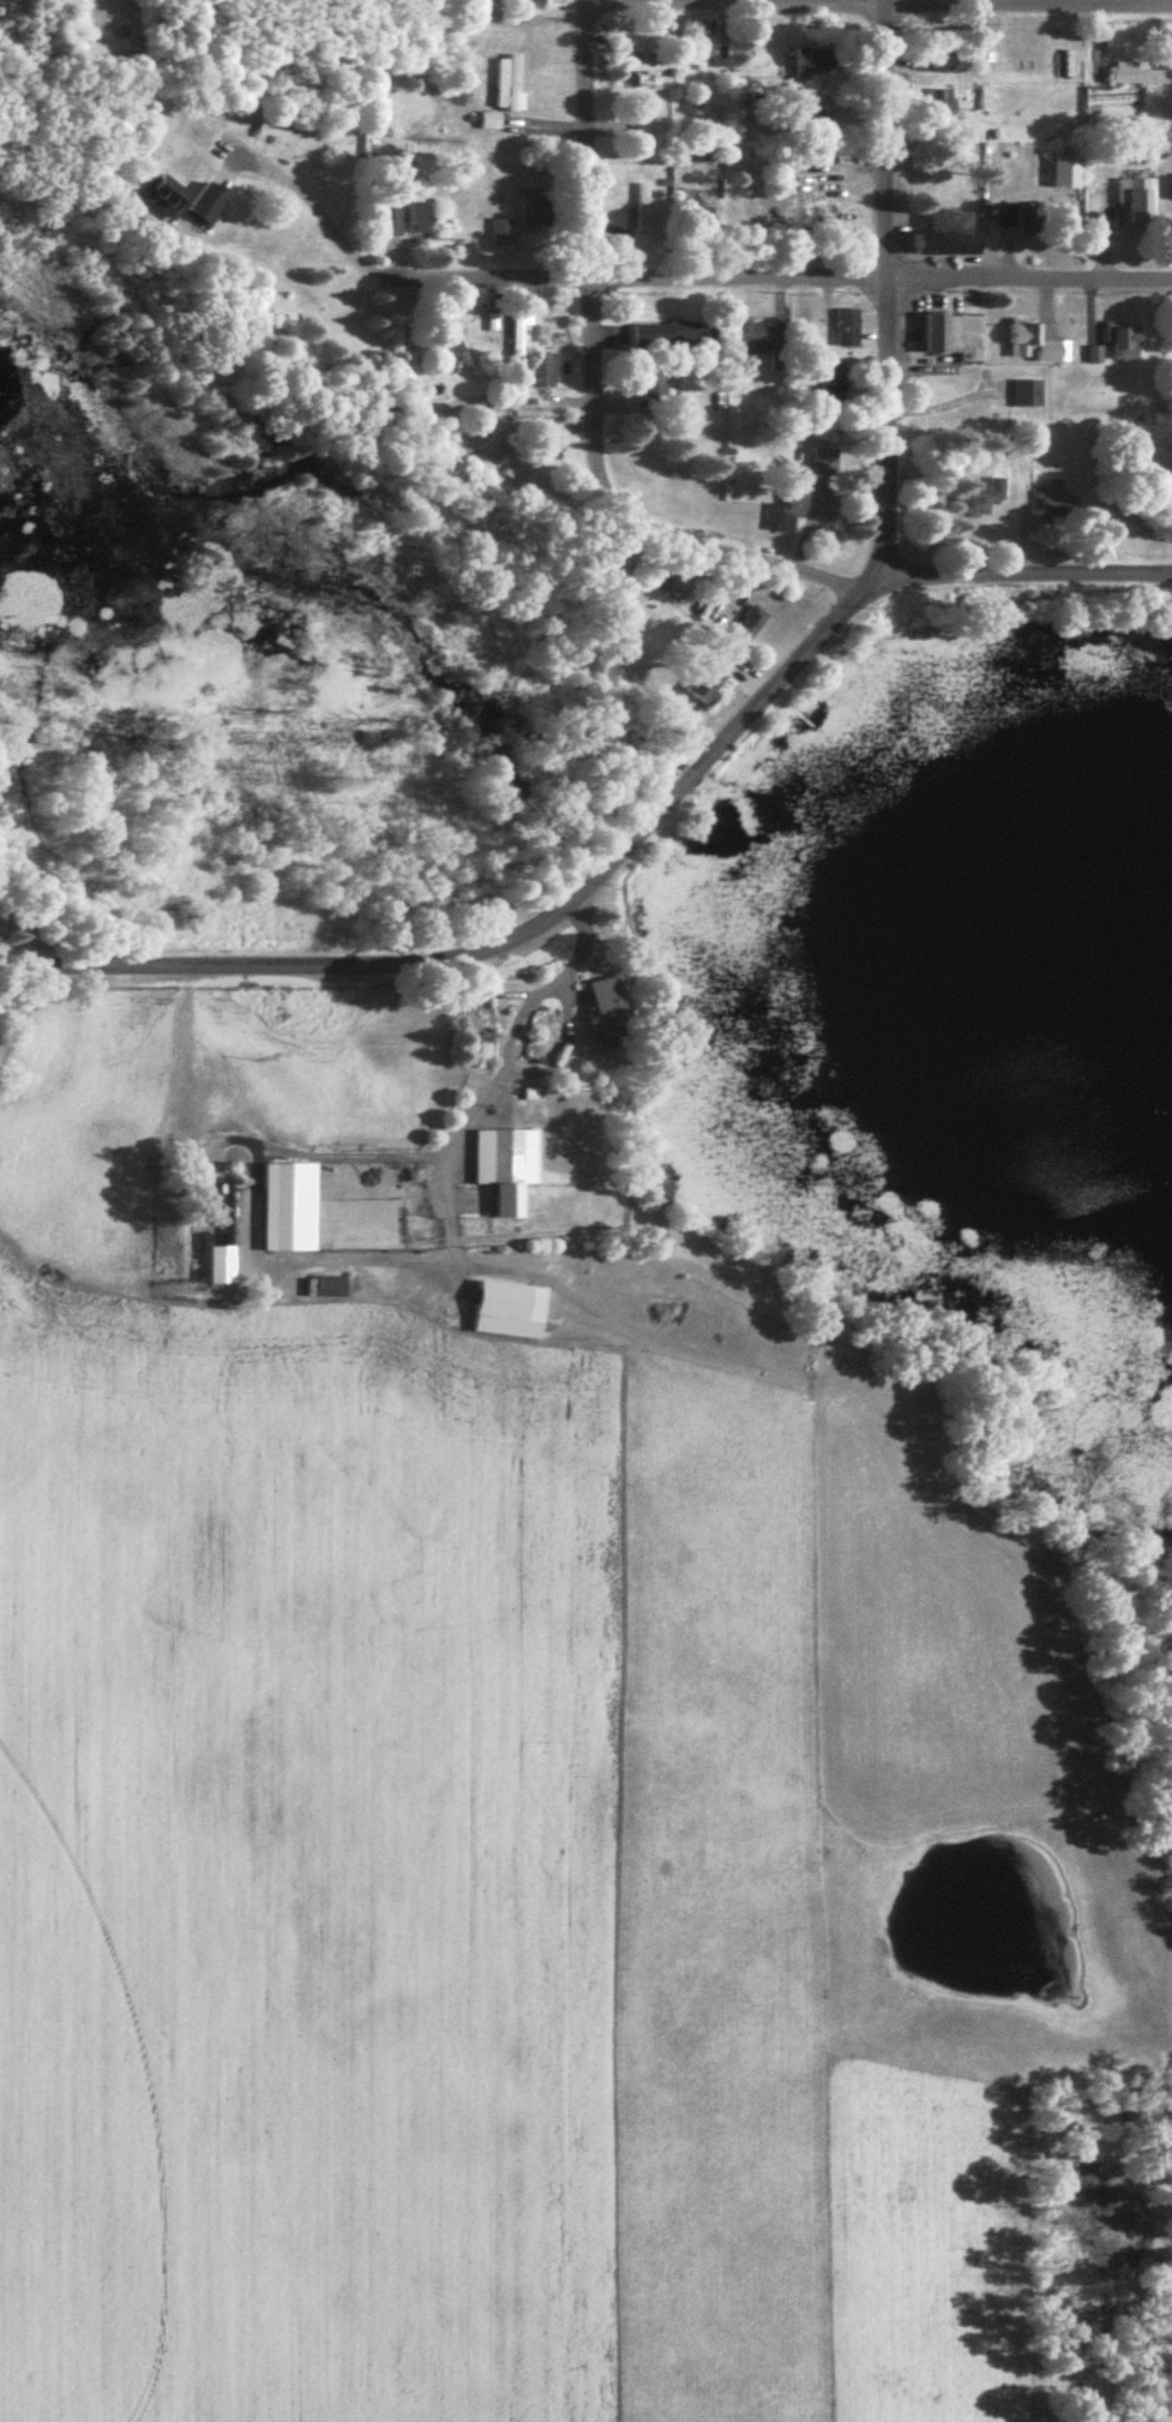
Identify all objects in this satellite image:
building: (536, 2)
building: (817, 62)
building: (945, 62)
building: (657, 65)
building: (1140, 76)
building: (504, 83)
building: (944, 106)
building: (492, 121)
building: (185, 200)
building: (1138, 203)
building: (644, 208)
building: (535, 209)
building: (815, 209)
building: (701, 215)
building: (1021, 217)
building: (421, 218)
building: (503, 233)
building: (950, 236)
road: (779, 258)
road: (583, 274)
road: (880, 274)
building: (849, 328)
building: (757, 335)
building: (957, 336)
building: (518, 337)
building: (666, 337)
building: (1128, 341)
building: (1038, 343)
building: (543, 371)
building: (836, 384)
building: (1029, 394)
building: (825, 462)
building: (982, 498)
building: (1059, 503)
building: (788, 511)
road: (751, 541)
road: (1026, 550)
river: (369, 617)
building: (745, 630)
road: (793, 643)
building: (707, 682)
road: (683, 762)
road: (614, 833)
road: (293, 947)
building: (612, 996)
building: (512, 1164)
building: (293, 1205)
building: (513, 1309)

